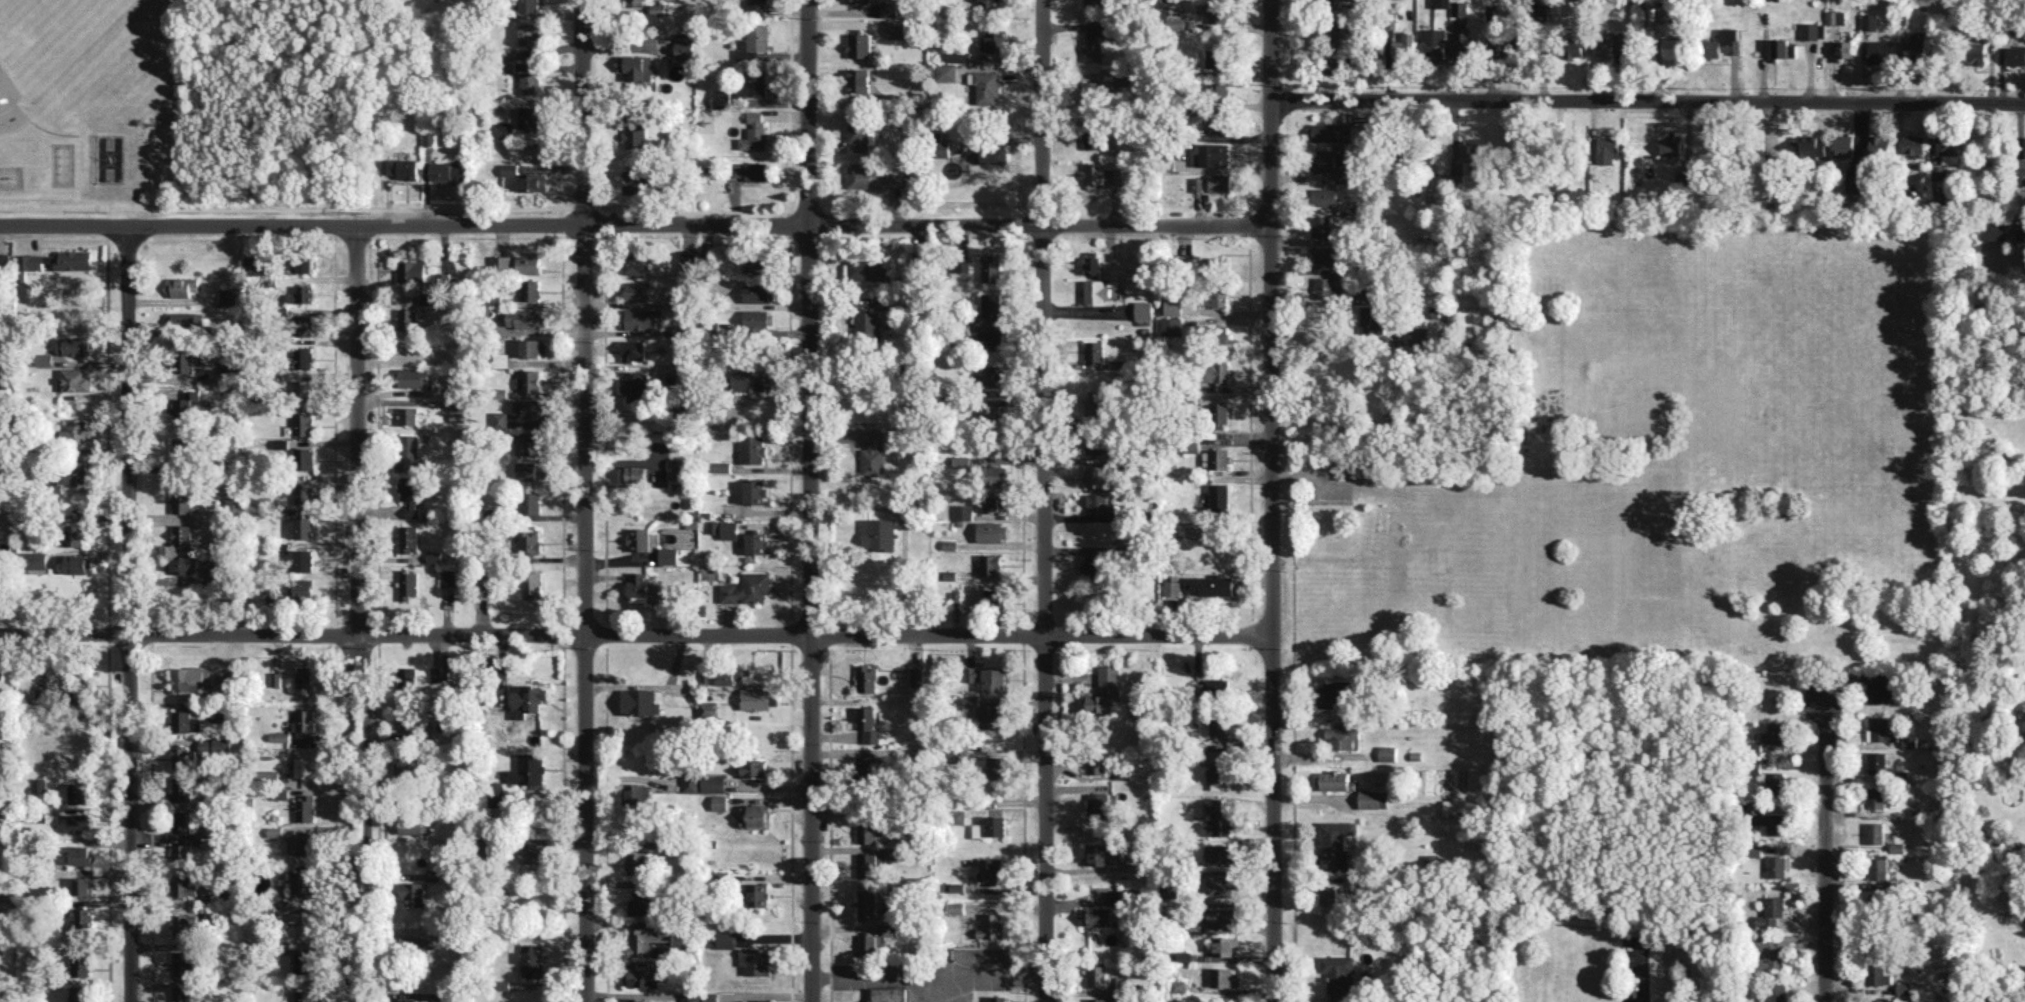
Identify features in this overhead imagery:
building: (635, 1)
building: (858, 1)
building: (1093, 2)
building: (989, 3)
building: (1441, 3)
building: (528, 5)
building: (757, 7)
building: (1460, 8)
building: (660, 9)
building: (889, 9)
building: (1217, 11)
building: (1176, 17)
building: (1835, 17)
building: (1869, 21)
building: (896, 28)
building: (1812, 30)
building: (530, 33)
building: (1318, 36)
building: (1094, 39)
building: (996, 40)
building: (753, 42)
building: (1721, 43)
building: (1433, 44)
building: (1466, 44)
building: (1502, 44)
building: (1607, 44)
building: (859, 45)
building: (1575, 46)
building: (1915, 46)
building: (1403, 47)
building: (1672, 47)
building: (1782, 48)
building: (1843, 49)
building: (684, 51)
building: (1879, 51)
building: (1975, 52)
building: (2015, 55)
building: (955, 56)
building: (1216, 57)
building: (638, 66)
building: (946, 71)
building: (529, 77)
building: (859, 80)
building: (752, 84)
building: (986, 87)
building: (1221, 90)
building: (1092, 92)
building: (721, 99)
road: (1647, 101)
building: (529, 117)
building: (506, 130)
building: (861, 131)
building: (1332, 131)
building: (754, 132)
building: (1093, 135)
building: (635, 136)
building: (429, 138)
building: (1913, 143)
building: (1842, 144)
building: (1670, 145)
building: (1878, 145)
building: (1807, 146)
building: (1948, 148)
building: (2024, 148)
building: (942, 149)
building: (1606, 149)
building: (1469, 151)
building: (1215, 154)
building: (993, 155)
park: (110, 157)
building: (1324, 160)
building: (401, 167)
building: (510, 169)
building: (750, 170)
building: (448, 171)
building: (1939, 172)
building: (1095, 173)
building: (873, 175)
building: (1116, 175)
building: (2020, 175)
building: (639, 181)
building: (534, 182)
building: (1220, 182)
building: (1853, 183)
building: (1198, 184)
building: (1324, 196)
road: (634, 226)
building: (1324, 226)
building: (1994, 231)
building: (2020, 234)
building: (1322, 256)
building: (687, 258)
building: (4, 259)
building: (74, 259)
building: (1215, 259)
building: (48, 261)
building: (1093, 262)
building: (303, 263)
building: (501, 263)
building: (755, 263)
building: (962, 263)
building: (27, 264)
building: (528, 264)
building: (636, 264)
building: (254, 265)
building: (990, 267)
building: (865, 269)
building: (412, 270)
building: (181, 286)
building: (1324, 287)
building: (531, 289)
building: (638, 290)
building: (760, 291)
building: (1096, 292)
building: (302, 294)
building: (226, 295)
building: (1217, 296)
building: (679, 297)
building: (430, 298)
building: (884, 302)
building: (991, 303)
building: (1172, 304)
building: (1143, 309)
building: (184, 318)
building: (527, 318)
building: (643, 318)
building: (408, 319)
building: (759, 319)
building: (1370, 320)
building: (304, 324)
building: (866, 324)
building: (1172, 325)
building: (680, 330)
building: (1220, 336)
building: (1418, 336)
building: (990, 338)
building: (71, 345)
building: (532, 347)
building: (633, 350)
building: (1094, 351)
building: (303, 357)
building: (44, 359)
building: (183, 360)
building: (232, 364)
building: (1215, 370)
building: (991, 375)
building: (413, 377)
building: (76, 379)
building: (751, 379)
building: (531, 380)
building: (635, 384)
building: (303, 388)
building: (187, 404)
building: (1095, 404)
building: (529, 408)
building: (990, 412)
building: (408, 415)
building: (1218, 416)
building: (500, 418)
building: (304, 423)
building: (75, 430)
building: (281, 443)
building: (526, 443)
building: (1097, 443)
building: (1191, 443)
building: (752, 448)
building: (181, 450)
building: (409, 452)
building: (872, 453)
building: (303, 458)
building: (1215, 458)
building: (960, 460)
building: (722, 466)
building: (675, 467)
building: (525, 470)
building: (0, 473)
building: (71, 473)
building: (634, 473)
building: (994, 474)
building: (1096, 476)
building: (410, 487)
building: (754, 491)
building: (303, 492)
building: (1219, 497)
road: (811, 500)
road: (1044, 500)
road: (1273, 500)
building: (182, 501)
road: (583, 501)
building: (234, 502)
building: (530, 502)
building: (993, 503)
building: (1100, 503)
building: (412, 509)
building: (964, 511)
building: (79, 512)
building: (304, 526)
building: (713, 526)
building: (728, 529)
building: (992, 531)
building: (878, 533)
building: (75, 534)
building: (182, 535)
building: (408, 538)
building: (638, 539)
building: (529, 540)
building: (757, 542)
building: (668, 555)
building: (434, 557)
building: (304, 560)
building: (36, 562)
building: (181, 564)
building: (990, 564)
building: (1093, 566)
building: (948, 574)
building: (448, 577)
building: (408, 583)
building: (532, 583)
building: (638, 583)
building: (1211, 584)
building: (747, 587)
building: (1172, 587)
building: (303, 589)
building: (271, 591)
building: (956, 597)
building: (993, 597)
road: (130, 612)
road: (357, 612)
road: (637, 637)
building: (1, 671)
building: (440, 674)
building: (730, 674)
building: (916, 676)
building: (189, 677)
building: (987, 677)
building: (277, 678)
building: (705, 678)
building: (867, 678)
building: (408, 680)
building: (305, 682)
building: (215, 690)
building: (687, 690)
building: (1103, 690)
building: (41, 691)
building: (1335, 692)
building: (528, 698)
building: (756, 698)
building: (640, 701)
building: (709, 708)
building: (987, 711)
building: (221, 714)
building: (305, 720)
building: (409, 720)
building: (185, 721)
building: (868, 724)
building: (1218, 724)
building: (1881, 729)
building: (280, 736)
building: (1342, 737)
building: (1768, 737)
road: (1854, 737)
building: (215, 745)
building: (958, 755)
building: (185, 757)
building: (1879, 762)
building: (1095, 764)
building: (865, 766)
building: (996, 766)
building: (305, 767)
building: (753, 767)
building: (529, 769)
building: (1217, 770)
building: (268, 776)
building: (690, 779)
building: (1335, 780)
building: (1774, 782)
building: (713, 783)
building: (38, 785)
building: (181, 788)
building: (78, 793)
building: (282, 793)
building: (495, 793)
building: (637, 793)
building: (1875, 797)
building: (1373, 798)
building: (207, 799)
building: (719, 802)
building: (1098, 805)
building: (1461, 805)
building: (306, 807)
building: (754, 815)
building: (958, 816)
building: (1216, 818)
building: (1767, 820)
building: (182, 821)
building: (78, 822)
building: (412, 824)
building: (996, 825)
building: (215, 828)
building: (866, 829)
building: (979, 830)
building: (276, 831)
building: (1874, 832)
road: (1825, 838)
building: (300, 843)
building: (1334, 843)
building: (1755, 850)
building: (1097, 853)
building: (81, 854)
building: (182, 854)
building: (535, 854)
building: (890, 854)
building: (1219, 854)
building: (636, 861)
building: (867, 865)
building: (1776, 866)
building: (989, 869)
building: (281, 872)
building: (303, 883)
building: (1221, 883)
building: (84, 885)
building: (183, 886)
building: (954, 886)
building: (1168, 888)
building: (414, 893)
building: (757, 894)
building: (1333, 895)
building: (1119, 897)
building: (641, 901)
building: (867, 904)
building: (957, 907)
building: (1771, 911)
building: (213, 914)
building: (1097, 916)
building: (1219, 916)
building: (80, 917)
building: (304, 921)
building: (183, 923)
building: (991, 925)
building: (889, 929)
building: (726, 939)
building: (413, 942)
building: (650, 942)
building: (869, 943)
building: (1222, 946)
building: (1769, 953)
building: (1184, 955)
building: (532, 958)
building: (306, 960)
building: (185, 961)
building: (755, 961)
building: (81, 964)
road: (928, 971)
road: (1642, 973)
building: (1877, 974)
building: (1097, 975)
building: (1221, 976)
building: (1339, 976)
building: (641, 977)
building: (1122, 981)
building: (1178, 985)
road: (914, 987)
building: (1903, 987)
building: (1776, 992)
building: (79, 993)
building: (182, 994)
building: (891, 994)
building: (306, 996)
building: (690, 996)
building: (710, 996)
building: (999, 998)
building: (405, 999)
building: (437, 999)
building: (1097, 999)
building: (1881, 1000)
building: (639, 1001)
building: (759, 1001)

